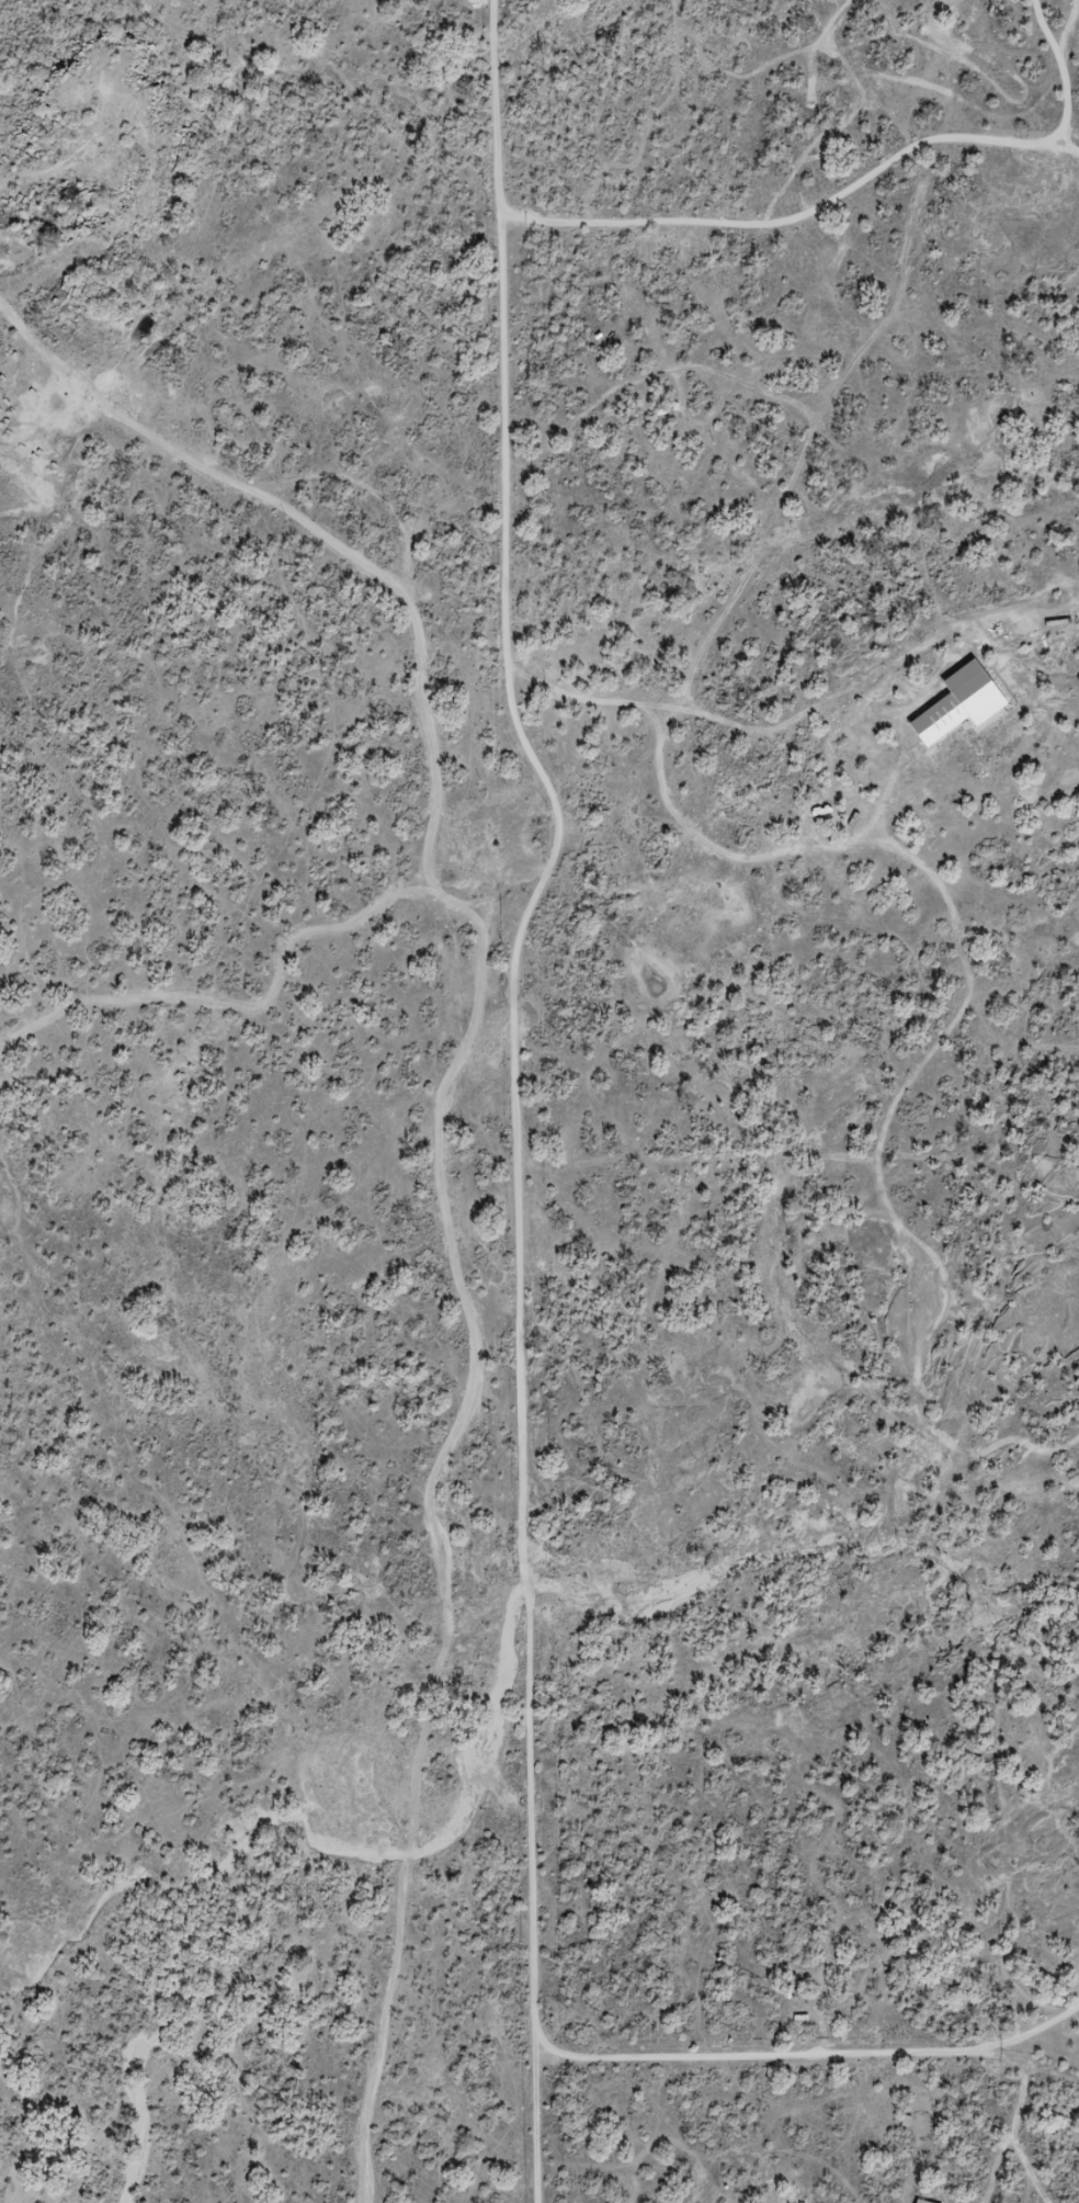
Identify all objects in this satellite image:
quarry: (100, 217)
building: (961, 705)
building: (821, 814)
road: (564, 841)
building: (922, 2201)

